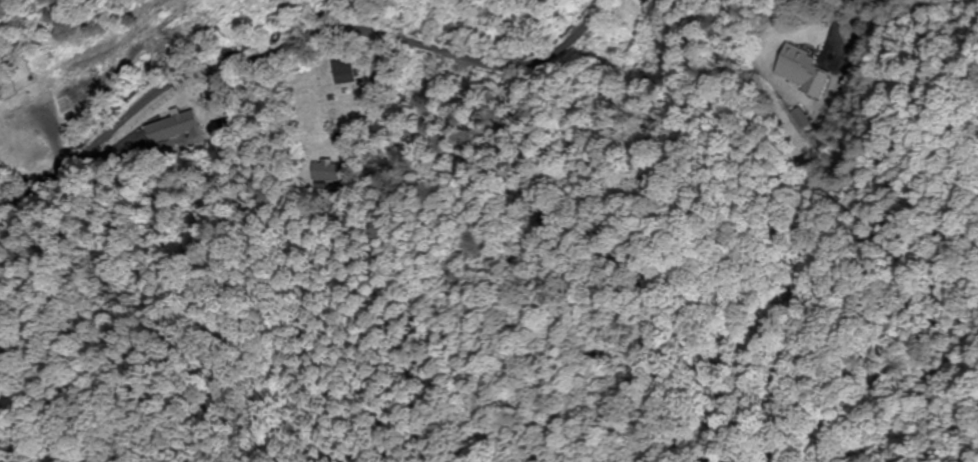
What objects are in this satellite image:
building: (489, 16)
road: (253, 56)
building: (802, 71)
building: (344, 73)
building: (171, 127)
building: (26, 135)
building: (329, 171)

